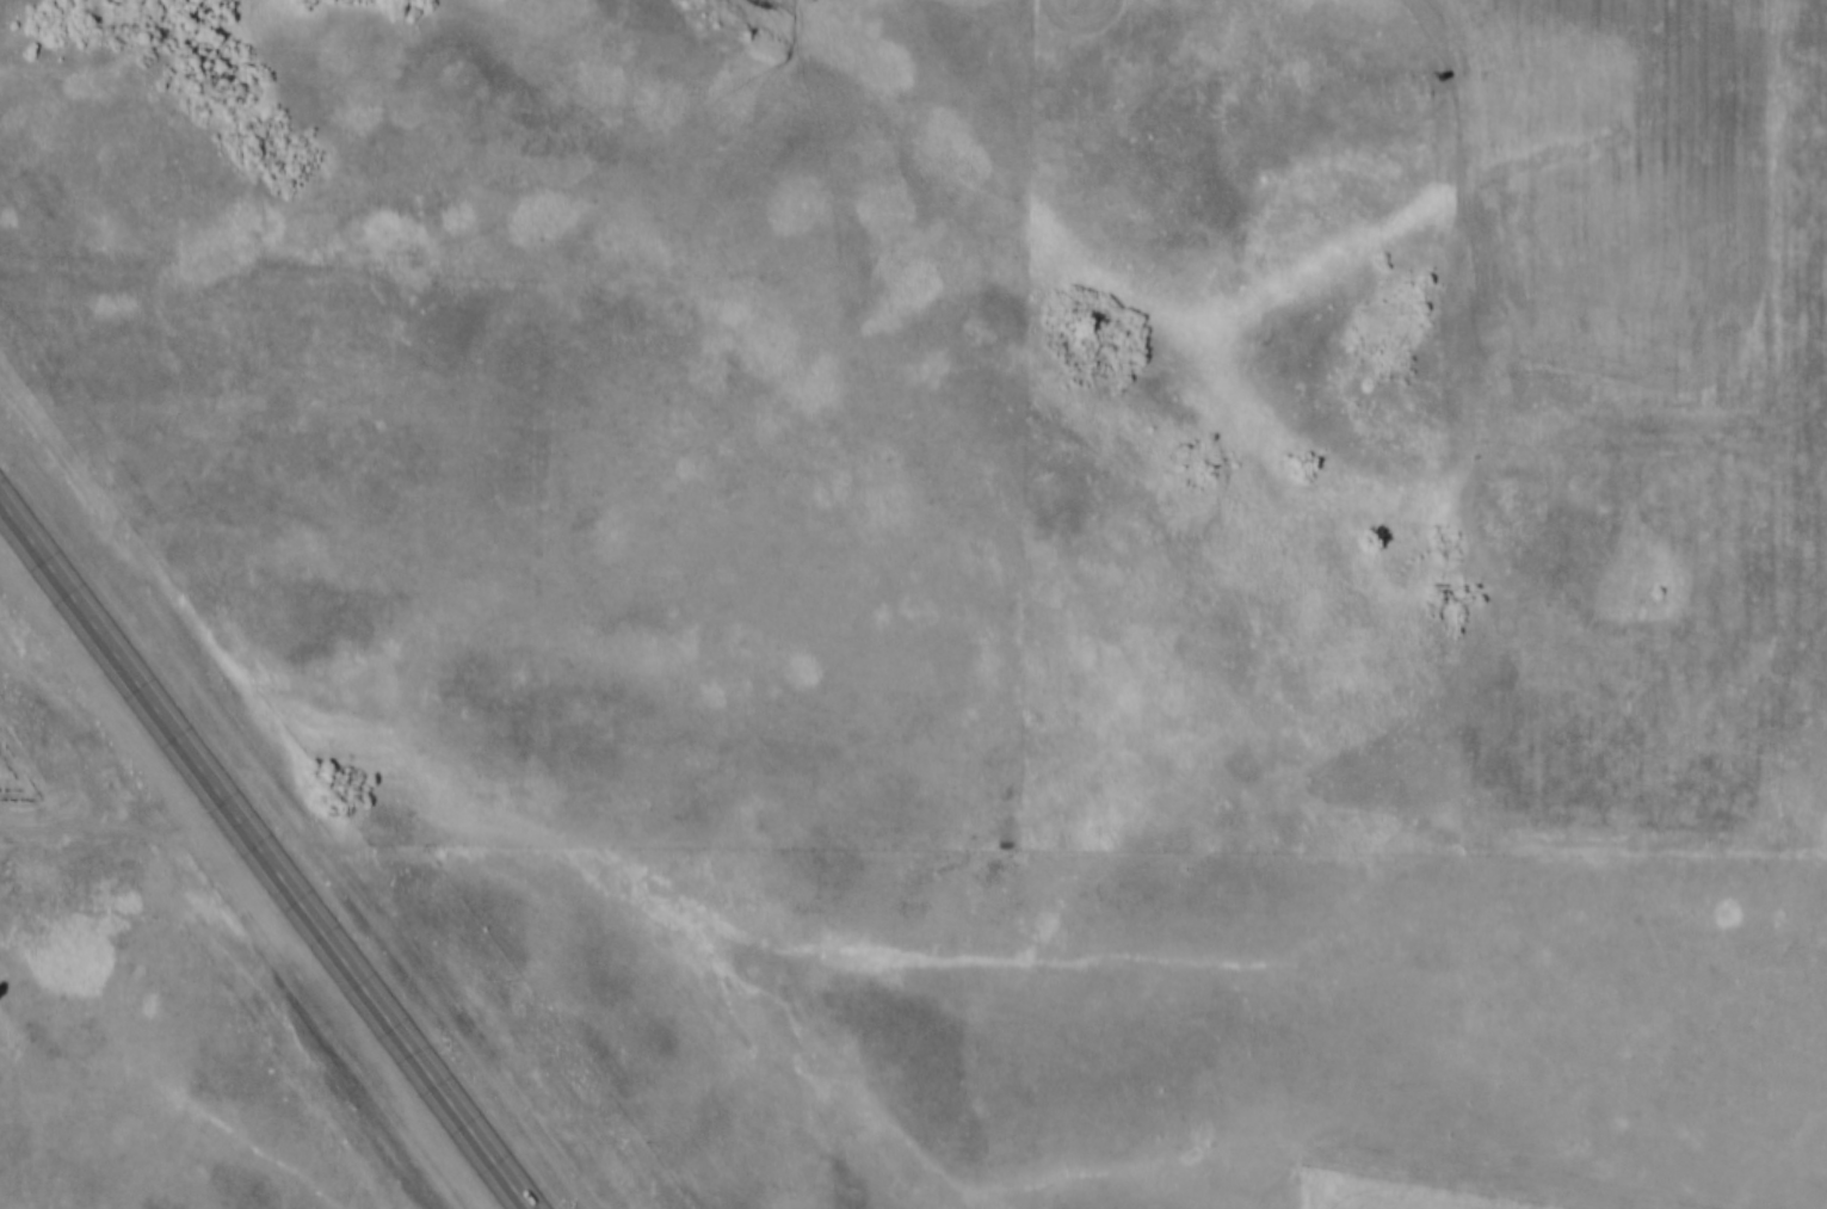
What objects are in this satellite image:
road: (266, 853)

